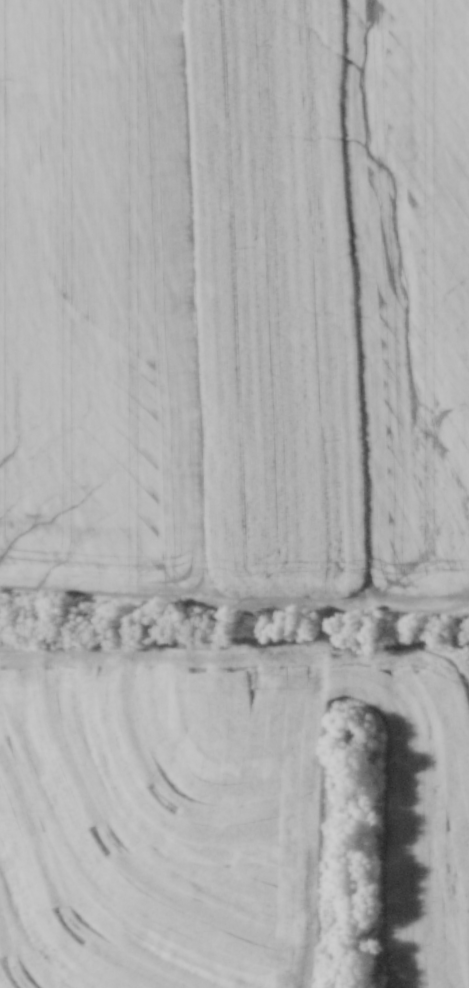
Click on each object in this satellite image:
power tower: (260, 675)

